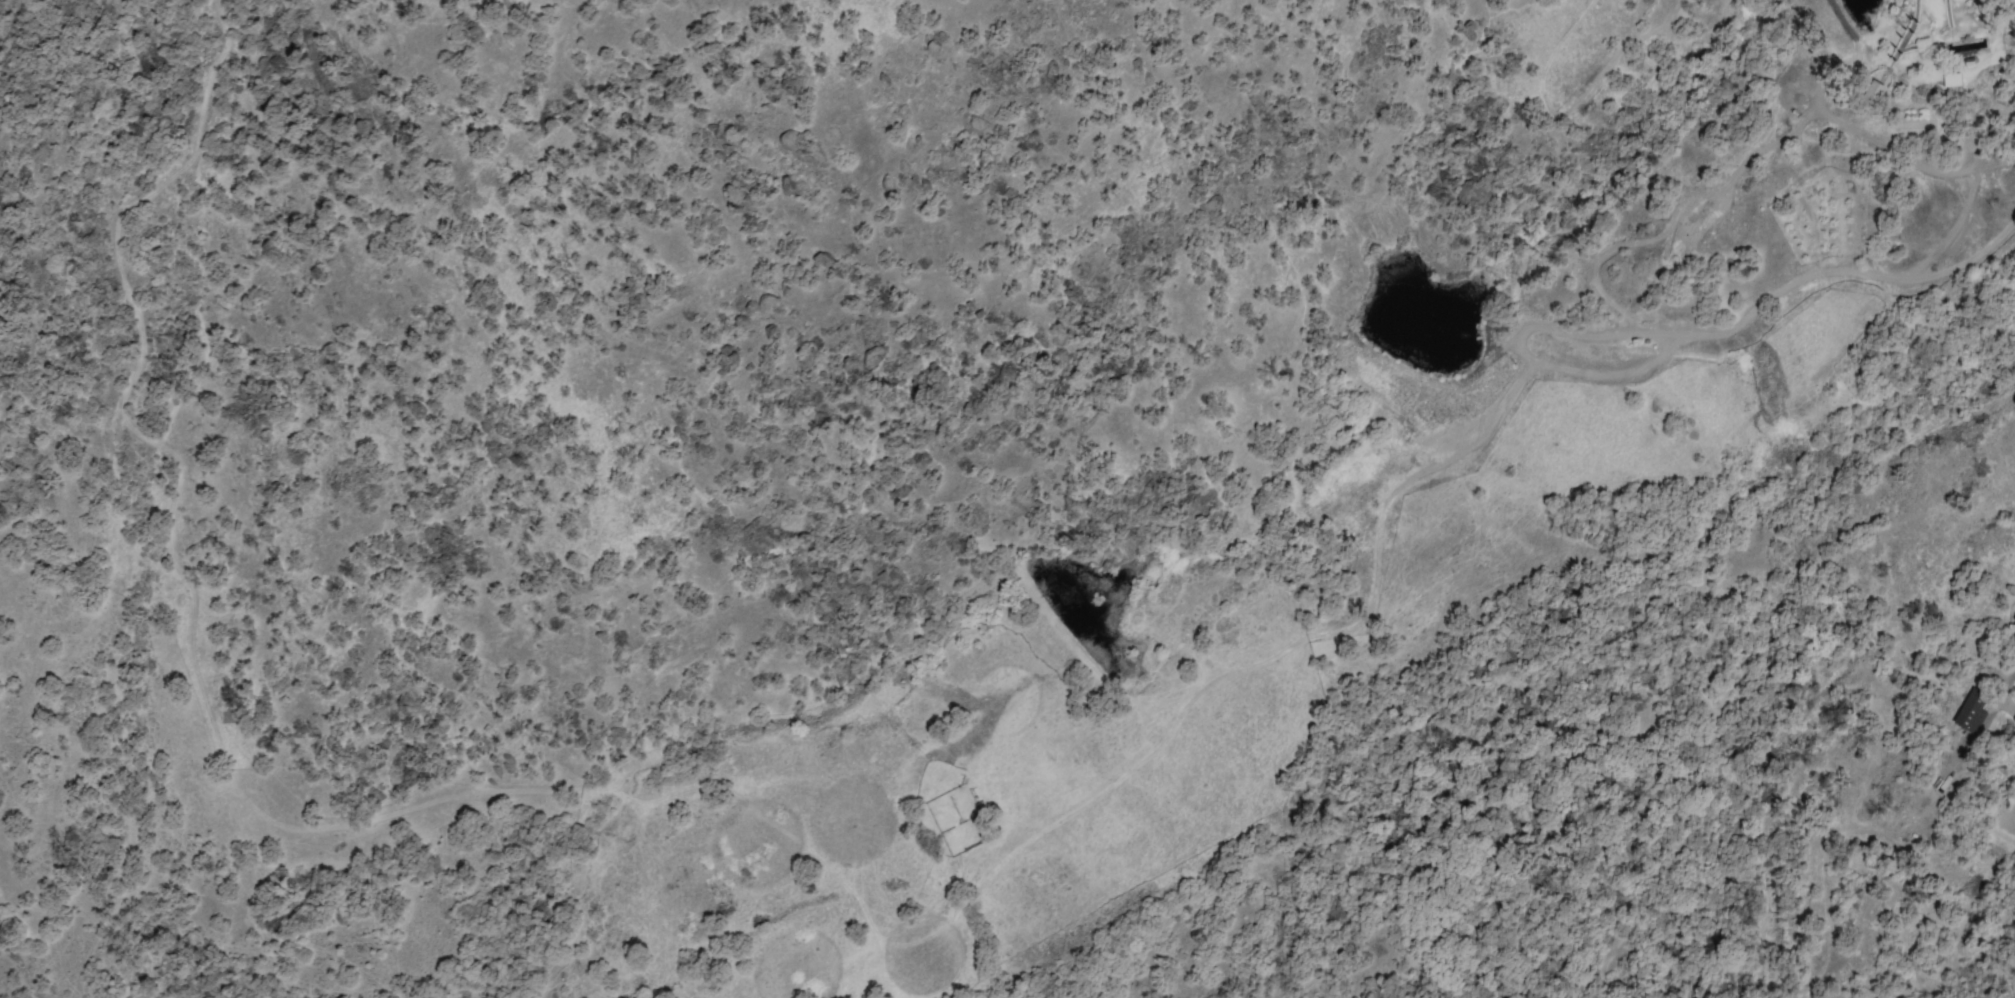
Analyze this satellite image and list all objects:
building: (1972, 713)
building: (2012, 719)

